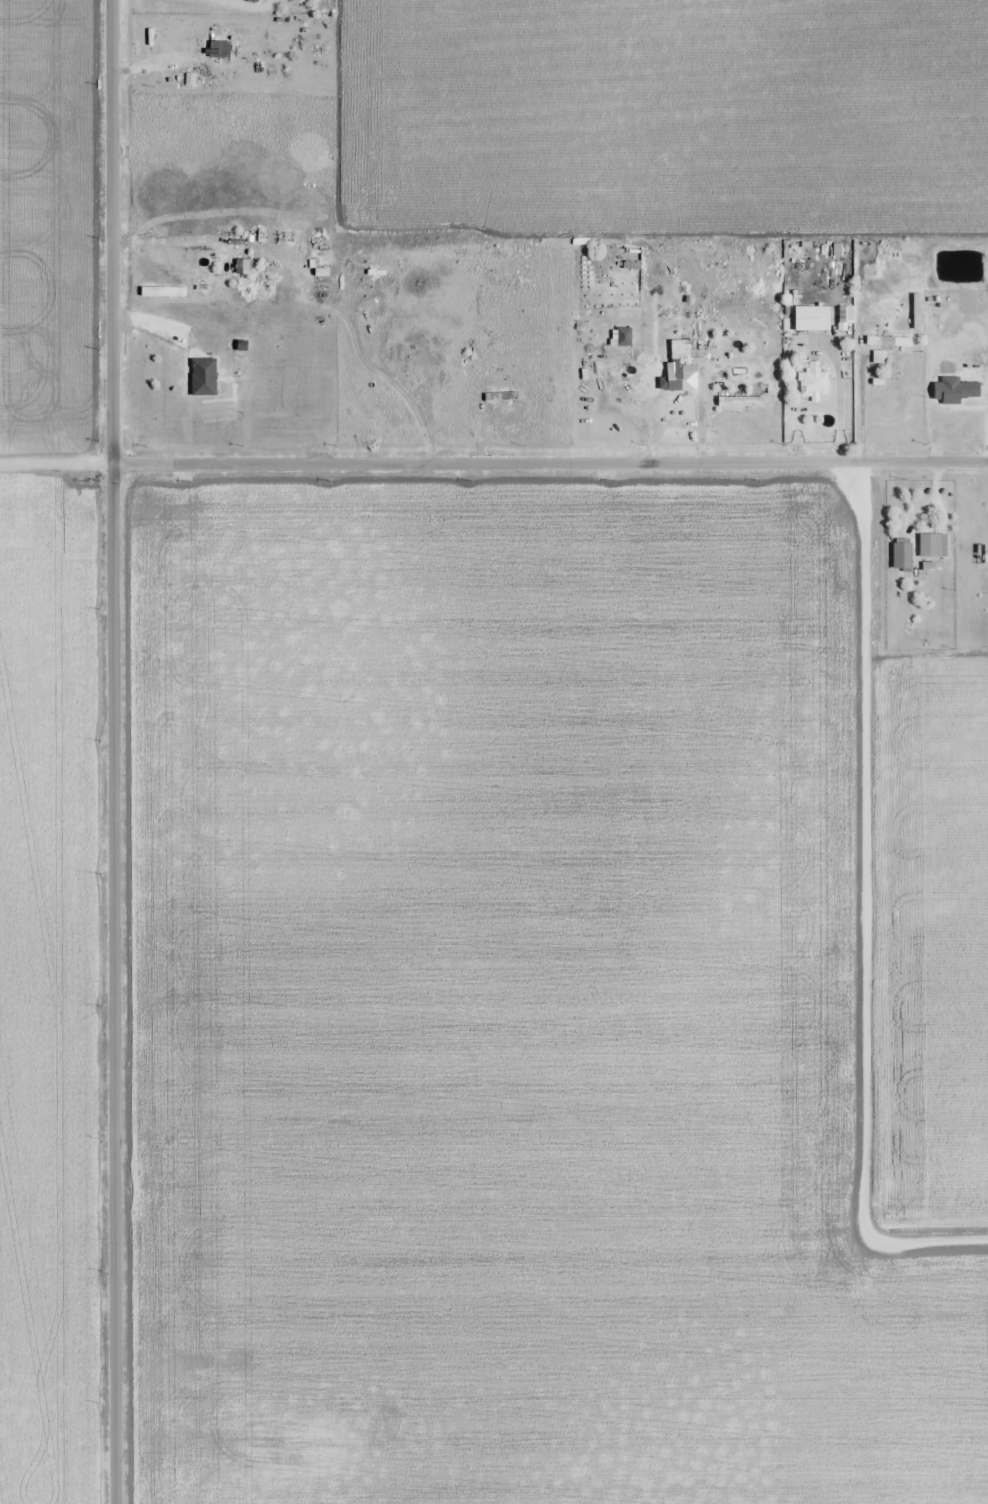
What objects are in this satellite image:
building: (253, 1)
road: (237, 8)
building: (218, 53)
building: (632, 255)
building: (242, 267)
building: (916, 311)
building: (813, 322)
building: (886, 340)
building: (680, 349)
building: (878, 357)
building: (203, 377)
building: (671, 377)
building: (814, 381)
building: (504, 387)
road: (550, 462)
road: (56, 463)
building: (929, 546)
building: (901, 555)
road: (113, 751)

